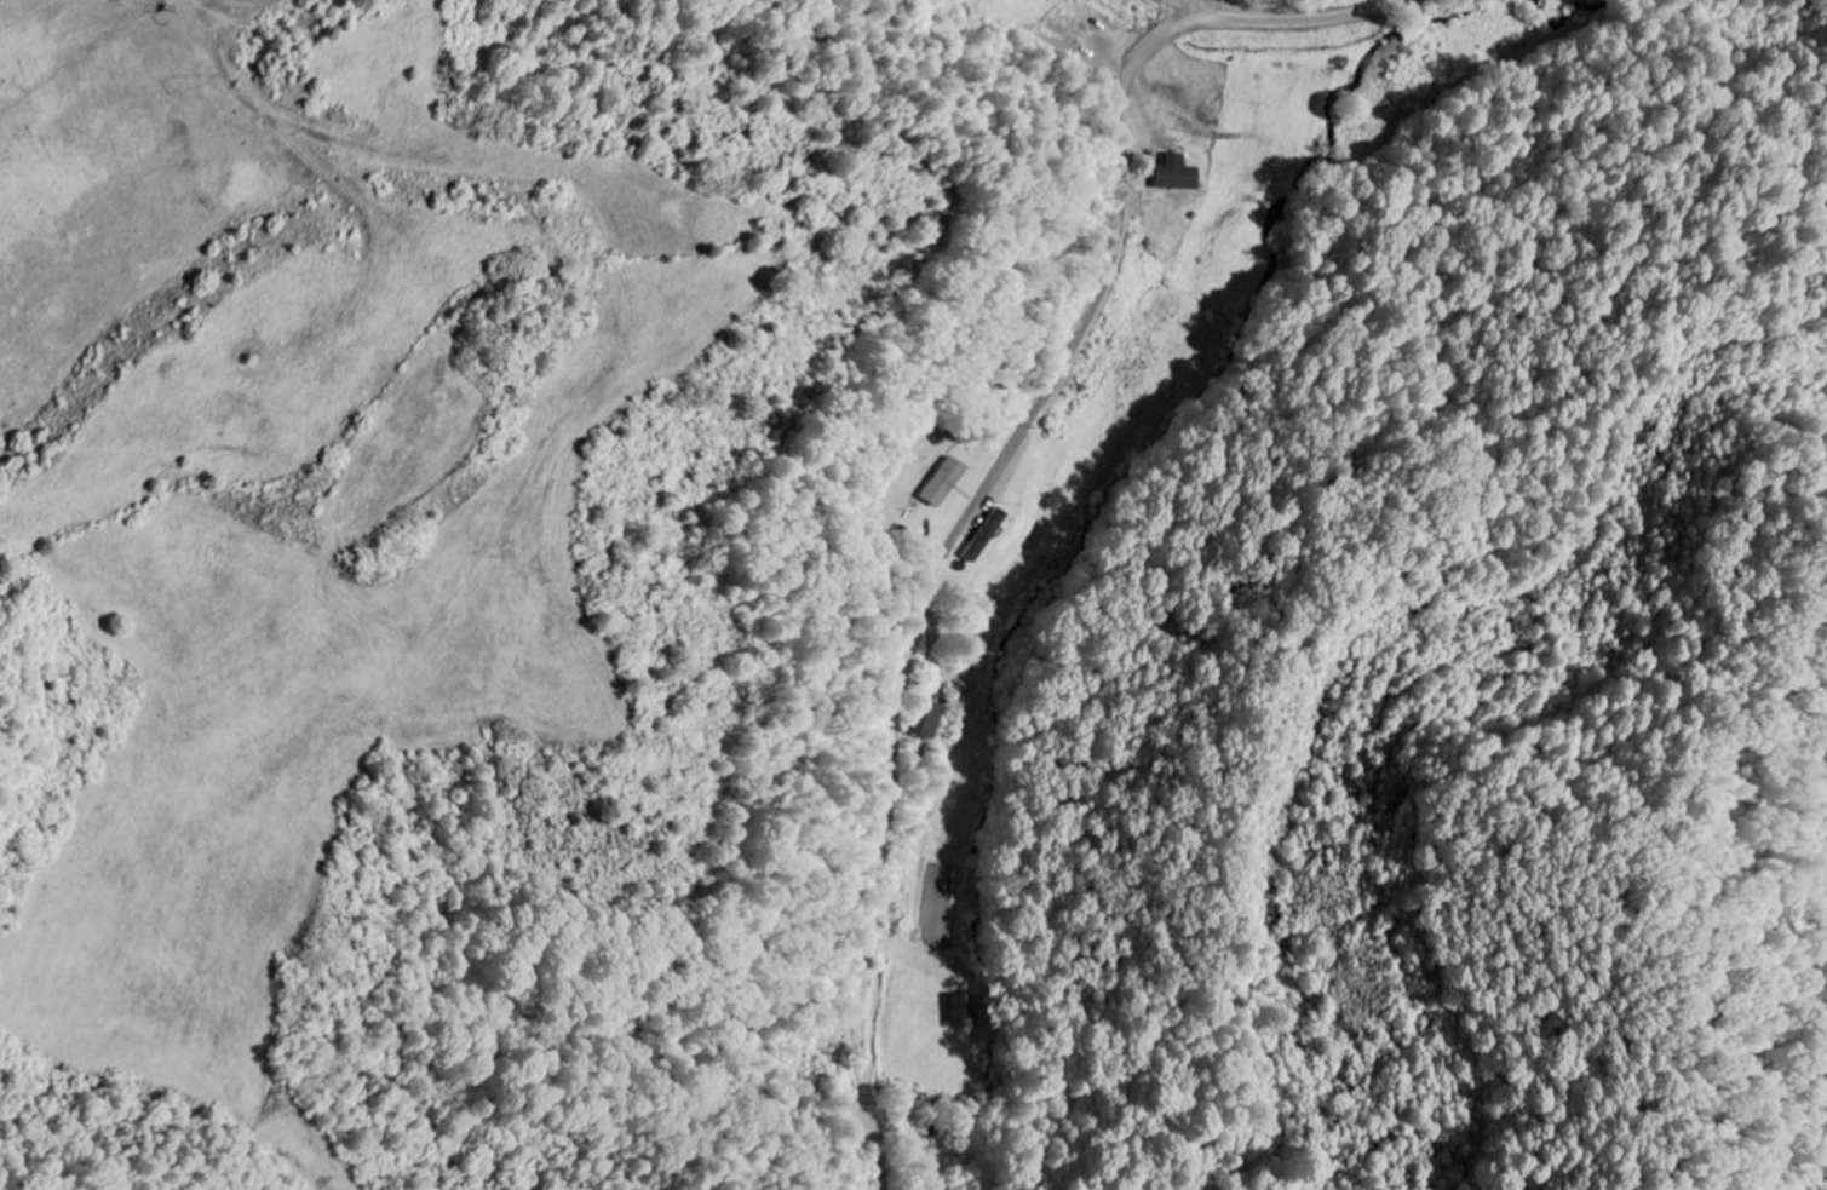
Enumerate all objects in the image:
building: (1178, 176)
road: (994, 479)
building: (944, 483)
building: (983, 536)
building: (925, 723)
building: (960, 1014)

